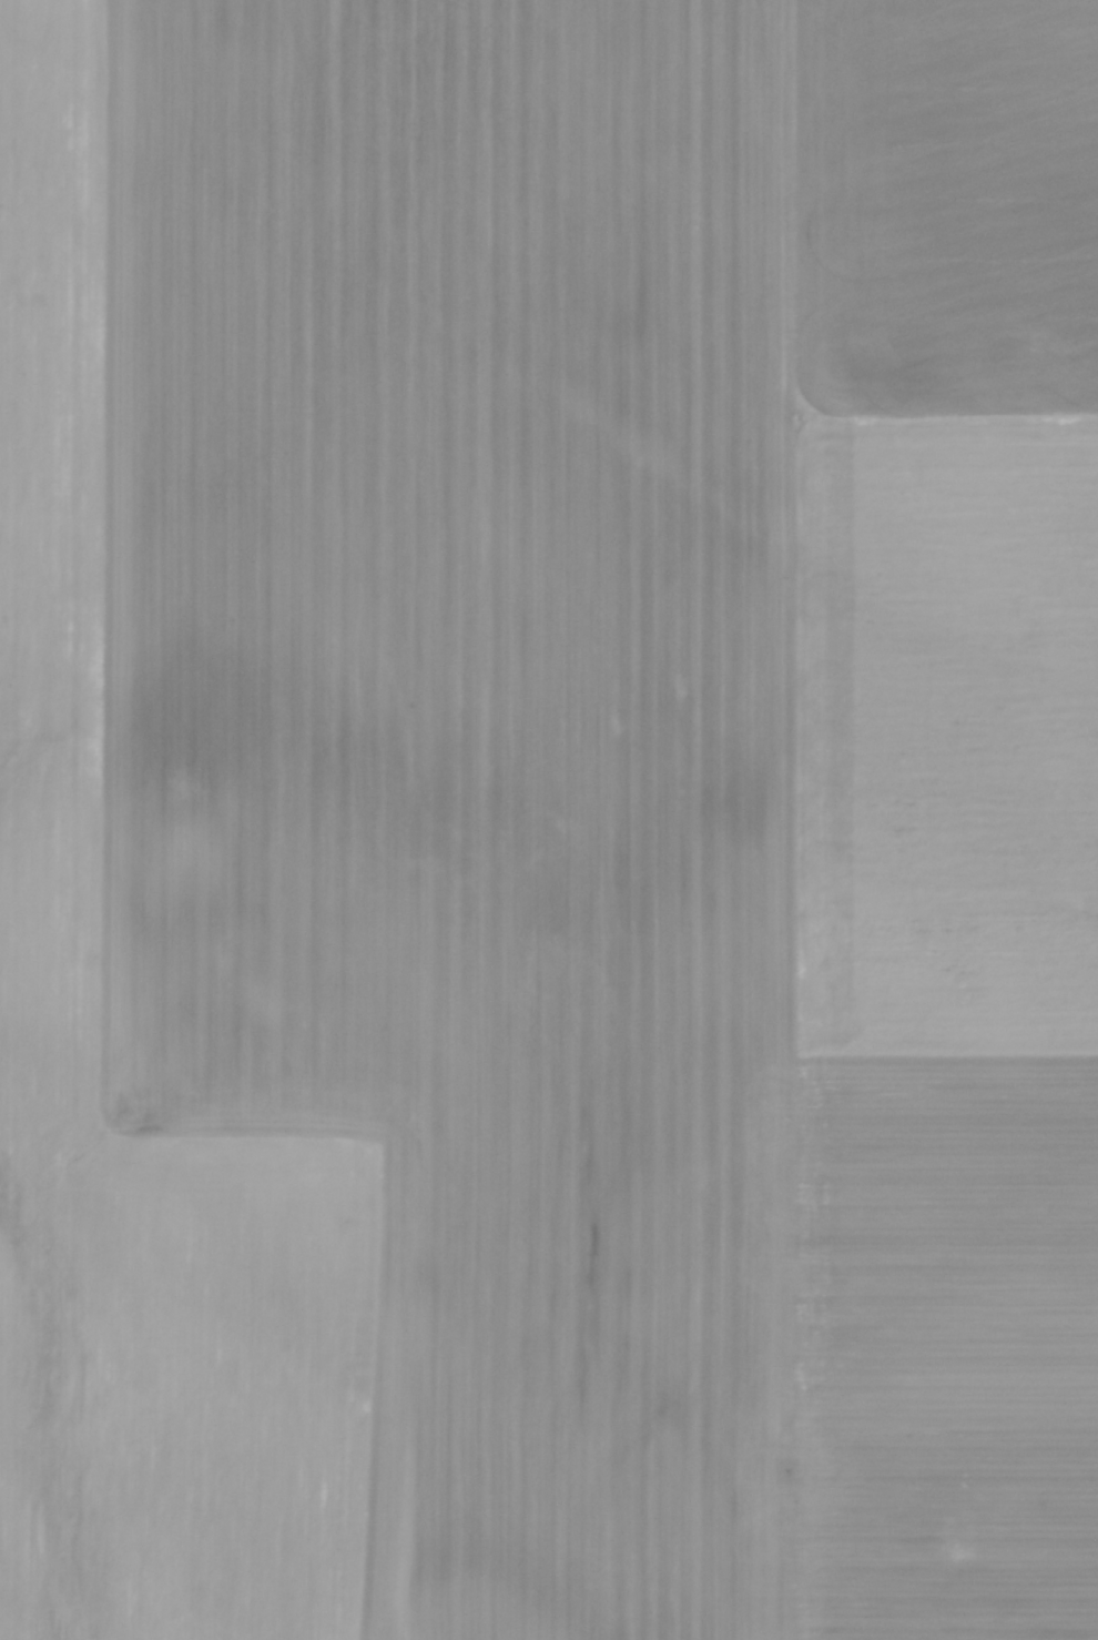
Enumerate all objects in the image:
crop: (549, 820)

